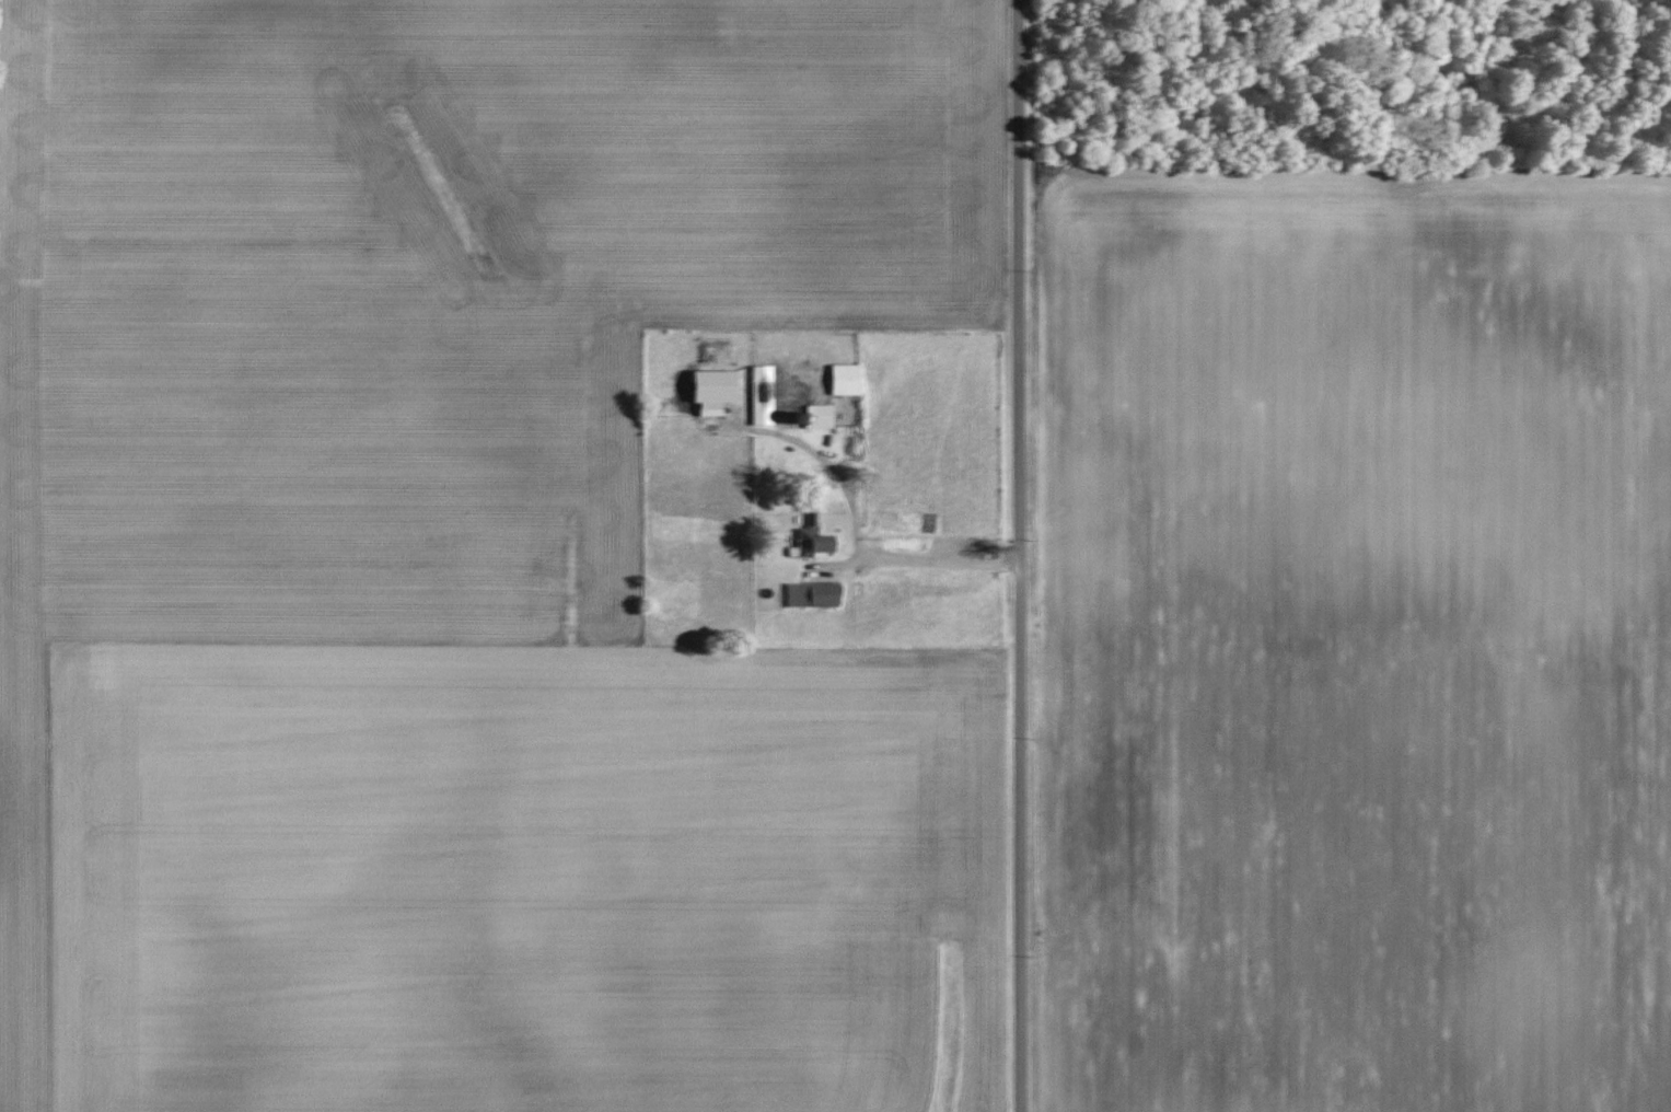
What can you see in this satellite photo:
building: (838, 380)
building: (707, 393)
building: (816, 417)
building: (807, 542)
road: (879, 555)
road: (1020, 555)
building: (809, 594)

